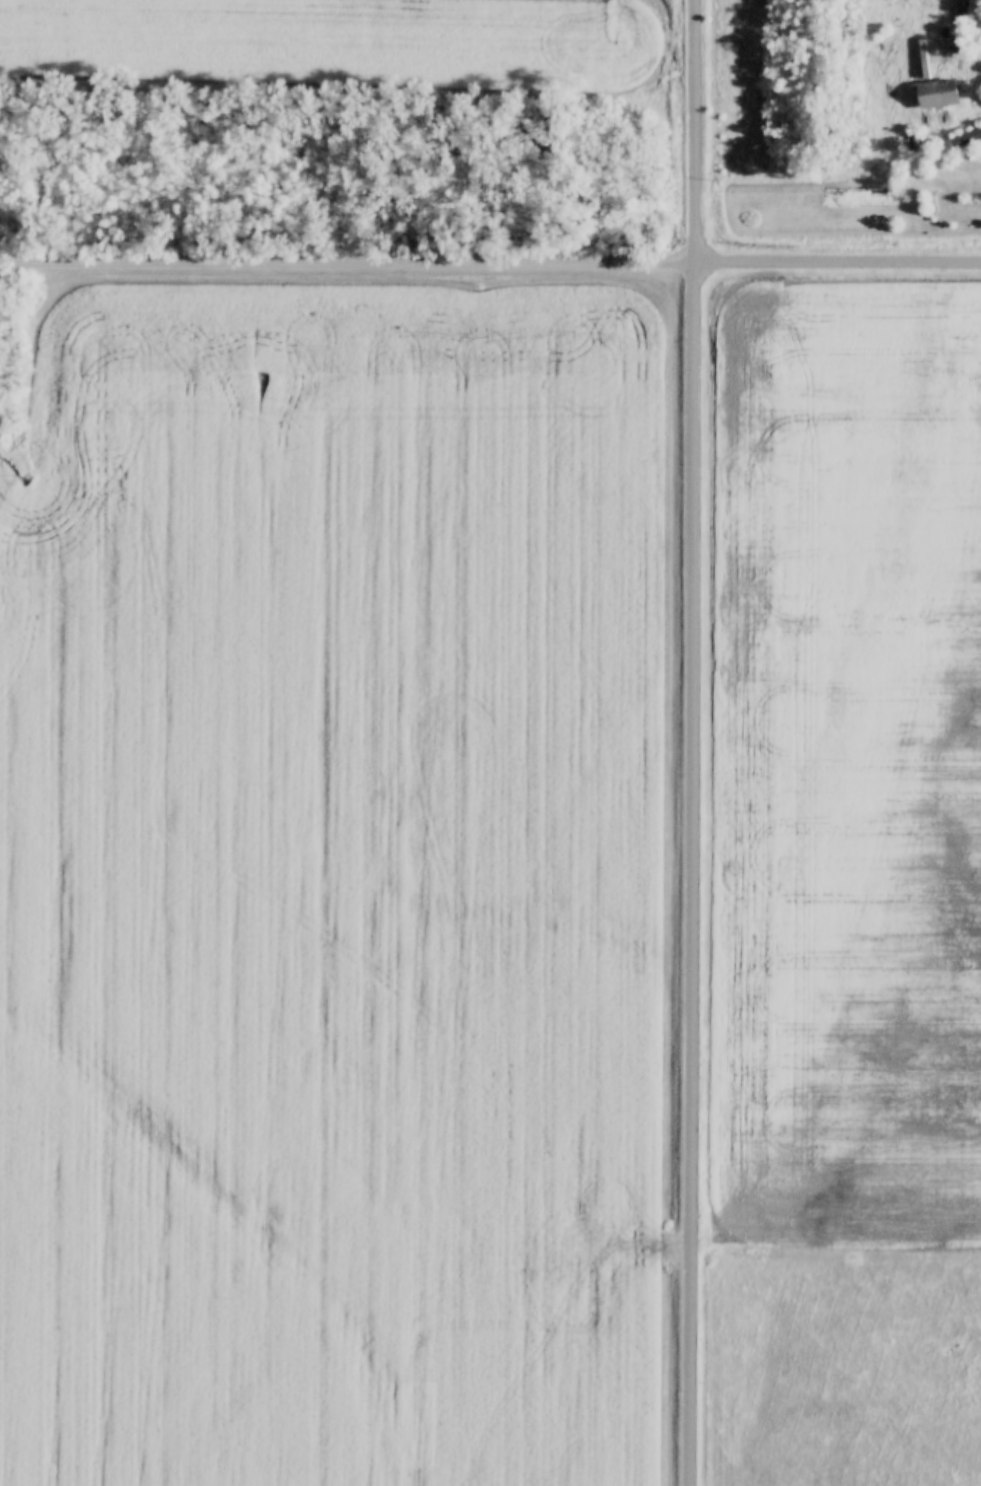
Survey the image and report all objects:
building: (964, 140)
road: (346, 263)
road: (836, 263)
road: (690, 742)

